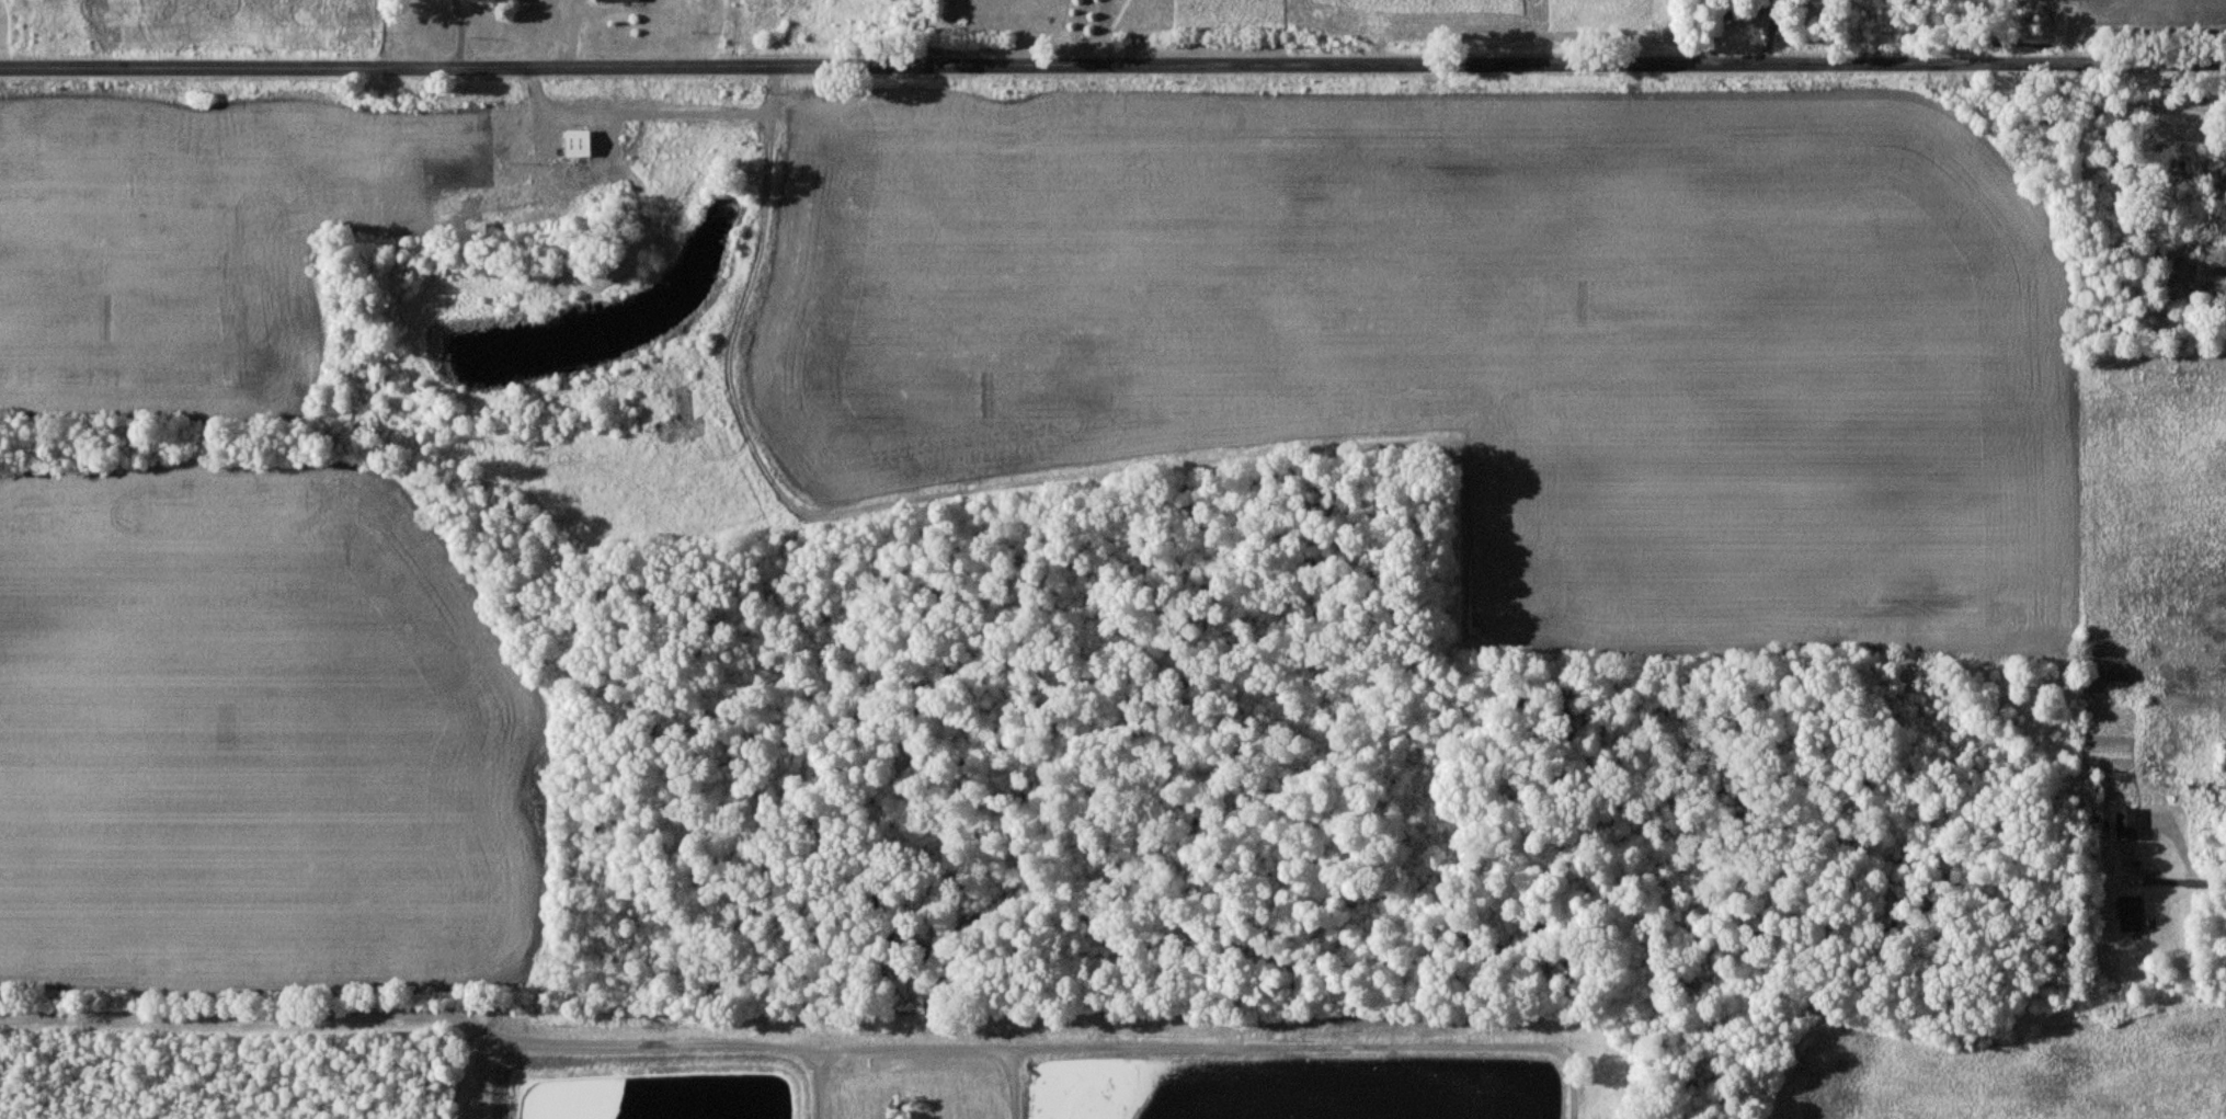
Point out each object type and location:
building: (617, 0)
road: (1077, 34)
road: (1112, 68)
building: (582, 144)
building: (2127, 823)
road: (2172, 881)
building: (2131, 913)

